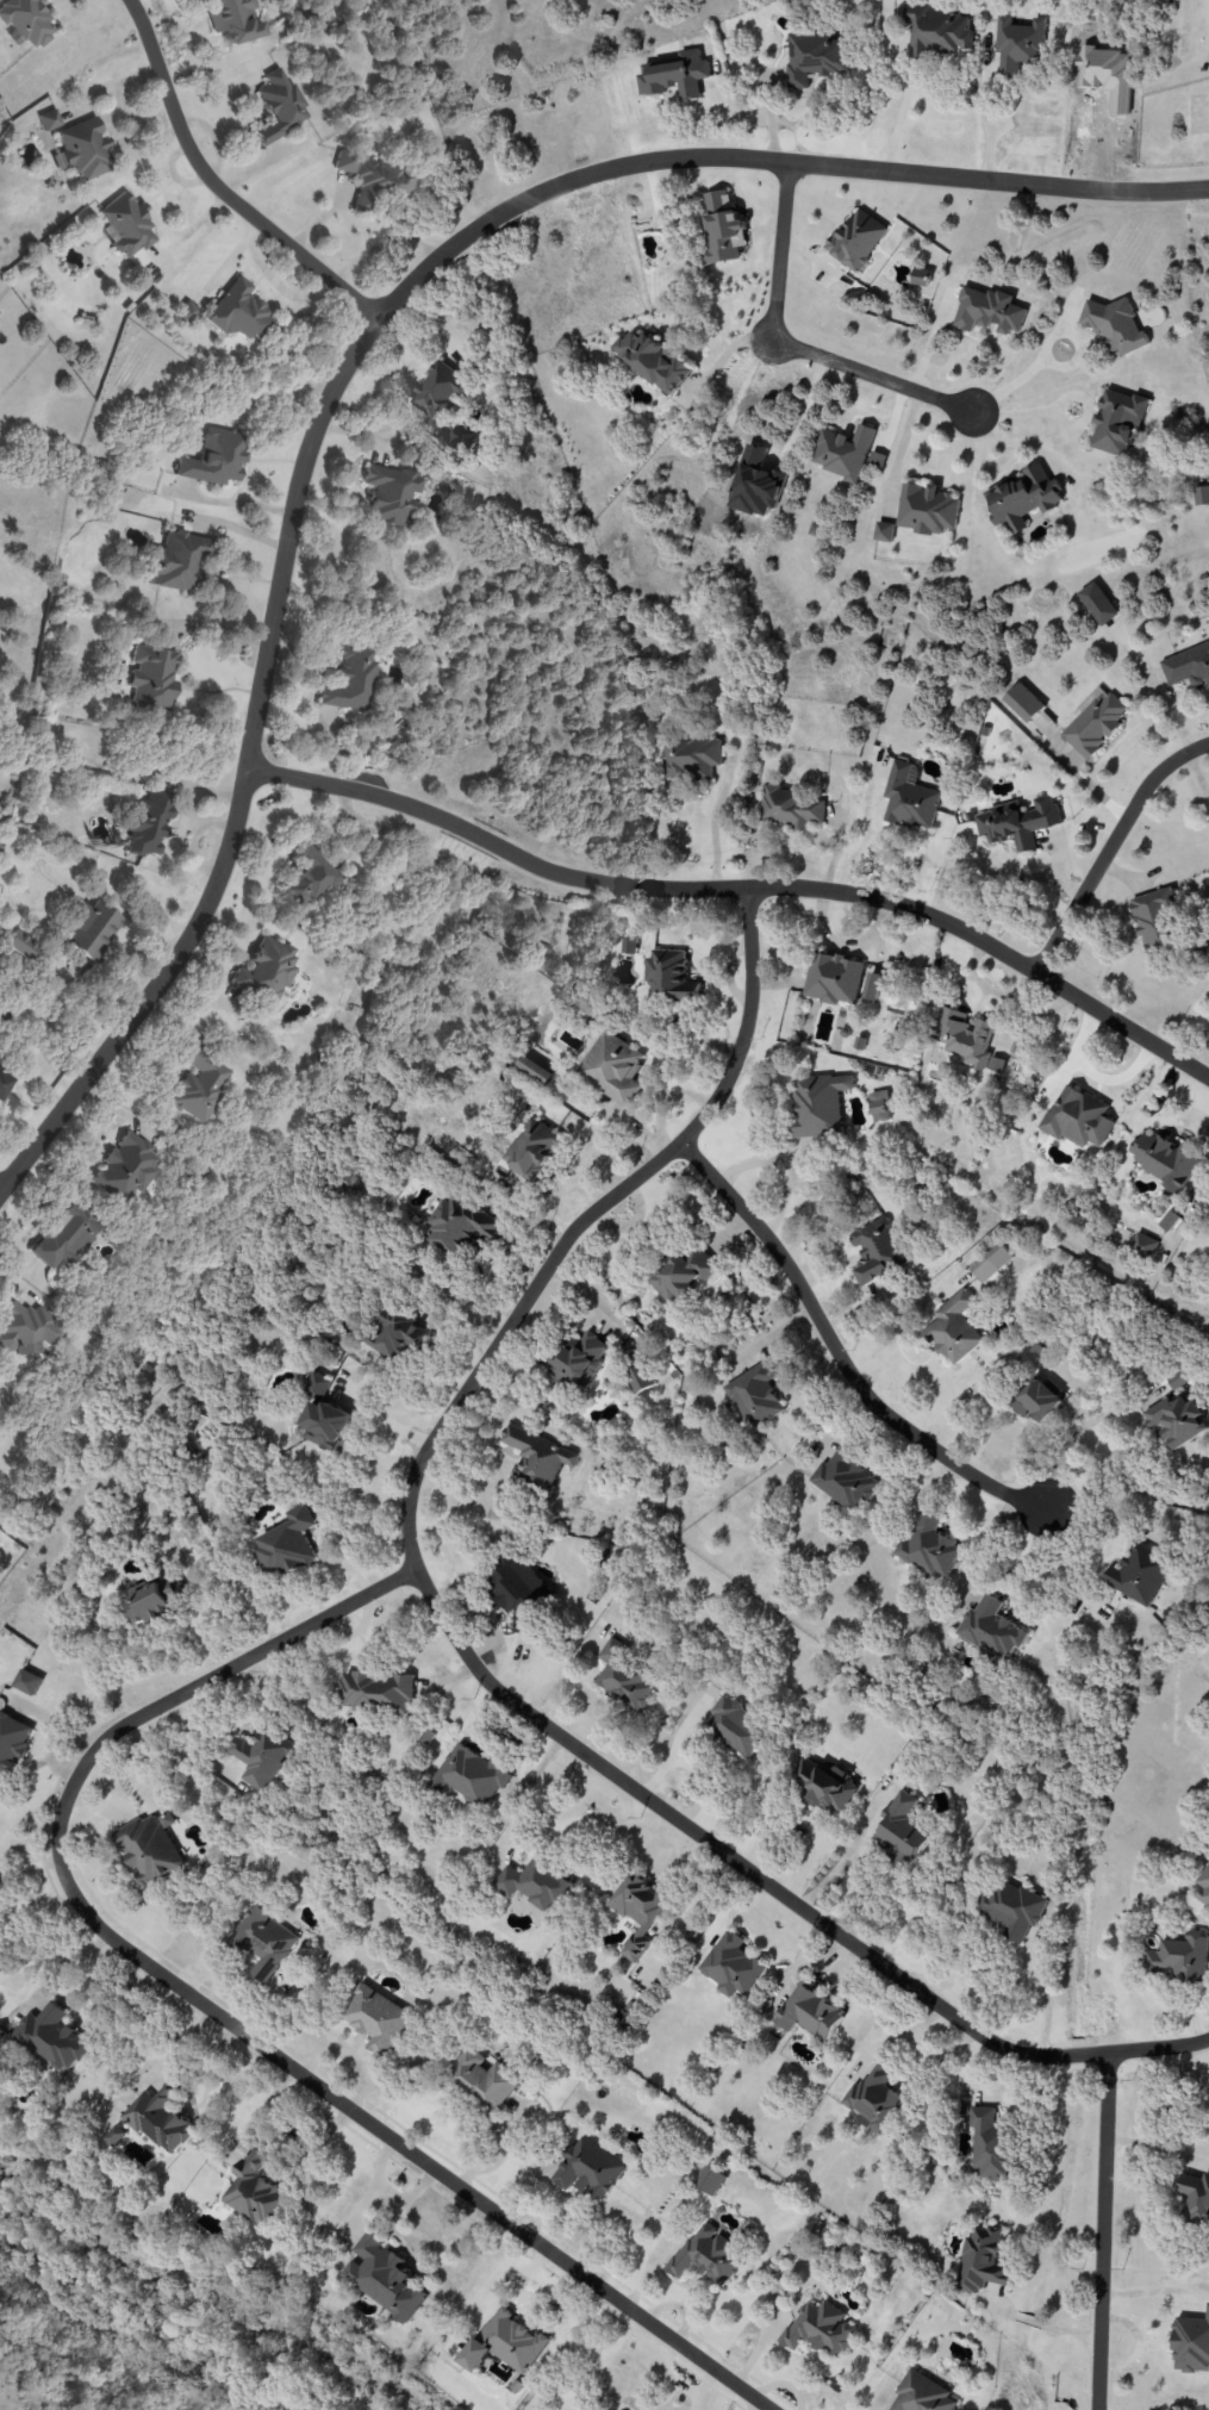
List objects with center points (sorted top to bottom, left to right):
building: (232, 19)
building: (26, 20)
building: (936, 31)
building: (1018, 44)
building: (815, 57)
building: (675, 75)
building: (279, 105)
road: (902, 107)
building: (49, 119)
road: (986, 123)
building: (82, 149)
building: (344, 160)
road: (833, 164)
building: (380, 182)
road: (218, 183)
building: (125, 224)
building: (722, 229)
building: (856, 239)
building: (920, 276)
building: (187, 311)
building: (238, 311)
building: (989, 311)
building: (1116, 325)
road: (781, 347)
building: (654, 361)
building: (440, 390)
building: (1117, 422)
road: (1011, 443)
building: (843, 453)
building: (214, 457)
building: (877, 460)
building: (390, 493)
building: (1201, 496)
building: (1023, 498)
building: (927, 509)
building: (884, 531)
building: (176, 561)
building: (1098, 604)
building: (1188, 666)
building: (151, 677)
building: (349, 679)
building: (1023, 703)
road: (258, 714)
building: (1093, 722)
building: (691, 758)
building: (909, 798)
building: (791, 808)
building: (147, 822)
building: (1017, 822)
road: (712, 828)
road: (866, 833)
road: (1110, 845)
building: (309, 876)
road: (741, 889)
building: (1153, 921)
building: (91, 928)
building: (20, 945)
building: (263, 970)
building: (669, 977)
building: (833, 978)
building: (872, 986)
building: (967, 1040)
building: (613, 1069)
building: (534, 1070)
building: (197, 1082)
building: (4, 1083)
building: (818, 1104)
building: (879, 1106)
building: (1077, 1119)
building: (531, 1150)
building: (1163, 1160)
road: (787, 1164)
building: (125, 1167)
building: (460, 1225)
building: (64, 1237)
building: (1143, 1245)
building: (877, 1250)
building: (991, 1263)
building: (683, 1277)
building: (27, 1328)
building: (954, 1328)
building: (394, 1334)
road: (836, 1351)
building: (578, 1360)
building: (638, 1374)
building: (318, 1384)
building: (755, 1396)
building: (1039, 1399)
road: (381, 1418)
building: (1177, 1419)
building: (328, 1426)
road: (1071, 1432)
building: (538, 1457)
building: (846, 1483)
building: (286, 1544)
building: (929, 1547)
road: (1065, 1568)
building: (1139, 1574)
building: (519, 1589)
building: (156, 1600)
building: (991, 1629)
road: (459, 1646)
building: (625, 1679)
building: (27, 1682)
building: (376, 1692)
building: (736, 1723)
building: (12, 1743)
building: (263, 1757)
building: (469, 1775)
building: (828, 1783)
road: (547, 1791)
building: (902, 1831)
building: (150, 1850)
road: (29, 1864)
building: (1205, 1883)
building: (537, 1885)
road: (694, 1897)
building: (638, 1907)
building: (1010, 1910)
building: (264, 1942)
building: (1182, 1956)
building: (734, 1963)
road: (60, 1967)
road: (200, 2005)
building: (810, 2012)
building: (378, 2019)
building: (1, 2035)
building: (51, 2038)
building: (481, 2082)
building: (874, 2099)
building: (160, 2118)
building: (114, 2136)
building: (990, 2146)
building: (587, 2169)
building: (710, 2181)
building: (256, 2192)
building: (1196, 2197)
road: (1102, 2231)
building: (708, 2255)
building: (981, 2261)
building: (385, 2277)
road: (1042, 2324)
building: (819, 2329)
building: (505, 2343)
building: (1191, 2343)
building: (921, 2395)

